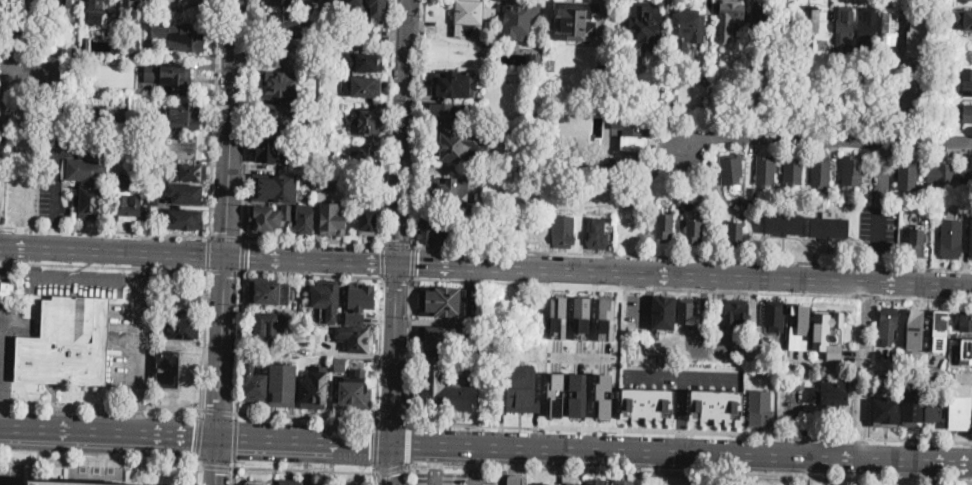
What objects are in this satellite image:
building: (185, 1)
building: (14, 2)
building: (282, 2)
building: (136, 3)
building: (309, 6)
building: (63, 7)
building: (378, 8)
building: (332, 9)
building: (355, 10)
building: (97, 11)
building: (471, 16)
building: (730, 16)
building: (956, 17)
building: (520, 18)
building: (760, 18)
building: (575, 20)
building: (284, 23)
building: (789, 24)
building: (963, 25)
building: (644, 26)
building: (889, 26)
building: (867, 27)
building: (688, 28)
building: (810, 28)
building: (845, 28)
building: (25, 32)
building: (315, 32)
building: (117, 33)
building: (177, 35)
building: (917, 36)
building: (486, 42)
building: (87, 44)
building: (131, 47)
building: (329, 49)
building: (76, 53)
building: (276, 53)
building: (717, 58)
building: (536, 59)
building: (363, 62)
building: (552, 64)
building: (787, 70)
building: (611, 71)
road: (13, 73)
parking lot: (36, 74)
building: (169, 79)
building: (455, 82)
building: (967, 82)
building: (278, 84)
building: (366, 86)
building: (332, 100)
building: (371, 103)
building: (674, 105)
building: (447, 111)
building: (774, 113)
building: (803, 113)
building: (966, 113)
building: (183, 116)
building: (545, 116)
road: (215, 117)
building: (280, 117)
building: (566, 117)
road: (248, 118)
building: (366, 119)
road: (387, 121)
road: (90, 122)
road: (418, 122)
building: (119, 126)
parking lot: (3, 127)
building: (633, 127)
road: (403, 131)
road: (823, 136)
building: (324, 139)
building: (634, 142)
parking lot: (67, 143)
building: (457, 145)
building: (185, 146)
building: (272, 148)
road: (57, 158)
building: (366, 159)
parking lot: (24, 161)
road: (25, 164)
building: (628, 166)
building: (731, 169)
building: (853, 169)
building: (765, 170)
building: (793, 170)
building: (820, 171)
building: (941, 171)
building: (183, 172)
building: (906, 175)
building: (966, 175)
building: (560, 176)
building: (326, 180)
building: (90, 181)
building: (274, 187)
building: (582, 188)
building: (752, 190)
building: (453, 191)
building: (182, 194)
road: (876, 194)
building: (918, 196)
building: (128, 200)
building: (149, 205)
building: (908, 209)
building: (919, 210)
building: (287, 211)
parking lot: (0, 217)
building: (265, 217)
building: (182, 218)
road: (228, 218)
building: (304, 218)
building: (333, 218)
building: (609, 218)
building: (368, 222)
building: (783, 224)
building: (664, 227)
building: (829, 227)
building: (433, 229)
road: (105, 230)
building: (462, 231)
building: (735, 231)
traffic signals: (228, 232)
building: (563, 232)
building: (694, 232)
road: (55, 233)
building: (596, 234)
road: (21, 235)
road: (227, 235)
building: (970, 236)
traffic signals: (399, 238)
building: (951, 239)
road: (314, 240)
building: (916, 241)
road: (399, 244)
road: (209, 252)
road: (243, 254)
road: (199, 255)
road: (693, 256)
traffic signals: (249, 258)
road: (140, 259)
road: (383, 259)
road: (412, 261)
road: (104, 264)
traffic signals: (418, 265)
road: (225, 270)
parking lot: (3, 271)
road: (313, 273)
road: (91, 276)
traffic signals: (226, 276)
road: (397, 276)
road: (685, 276)
parking lot: (75, 281)
traffic signals: (398, 282)
road: (692, 289)
building: (8, 292)
building: (272, 293)
building: (362, 295)
building: (184, 298)
building: (327, 299)
building: (443, 301)
building: (686, 311)
building: (735, 312)
building: (663, 313)
building: (581, 315)
building: (558, 316)
building: (354, 317)
building: (607, 317)
building: (774, 317)
building: (964, 322)
building: (889, 324)
building: (266, 325)
building: (801, 327)
building: (180, 328)
building: (915, 328)
building: (940, 330)
building: (827, 331)
building: (356, 336)
building: (435, 337)
parking lot: (10, 339)
building: (67, 343)
road: (204, 344)
road: (239, 345)
road: (380, 348)
road: (410, 350)
building: (966, 350)
road: (395, 352)
building: (899, 353)
road: (4, 354)
road: (137, 356)
road: (581, 356)
road: (592, 361)
building: (340, 365)
building: (167, 369)
road: (864, 371)
road: (682, 375)
building: (897, 378)
building: (253, 384)
building: (282, 384)
building: (314, 389)
building: (443, 390)
building: (522, 390)
building: (555, 392)
building: (354, 393)
building: (600, 393)
building: (832, 393)
building: (577, 394)
traffic signals: (221, 402)
building: (647, 403)
building: (716, 404)
road: (101, 405)
building: (934, 405)
building: (960, 407)
road: (1, 409)
building: (761, 409)
building: (913, 409)
road: (219, 411)
building: (887, 413)
road: (681, 414)
traffic signals: (394, 415)
road: (307, 417)
road: (393, 420)
road: (690, 430)
road: (109, 431)
traffic signals: (194, 435)
road: (306, 439)
road: (199, 440)
road: (235, 440)
traffic signals: (370, 441)
road: (409, 444)
road: (376, 445)
road: (682, 453)
road: (437, 454)
road: (476, 456)
road: (217, 460)
road: (101, 462)
road: (391, 463)
road: (218, 466)
road: (392, 468)
road: (304, 469)
road: (690, 471)
traffic signals: (217, 472)
road: (232, 472)
road: (196, 473)
traffic signals: (391, 475)
road: (408, 475)
road: (436, 475)
road: (475, 475)
parking lot: (453, 476)
park: (716, 477)
road: (375, 478)
road: (739, 479)
building: (515, 480)
building: (571, 481)
building: (291, 482)
building: (596, 482)
building: (625, 482)
building: (57, 483)
building: (257, 483)
building: (321, 483)
building: (350, 484)

